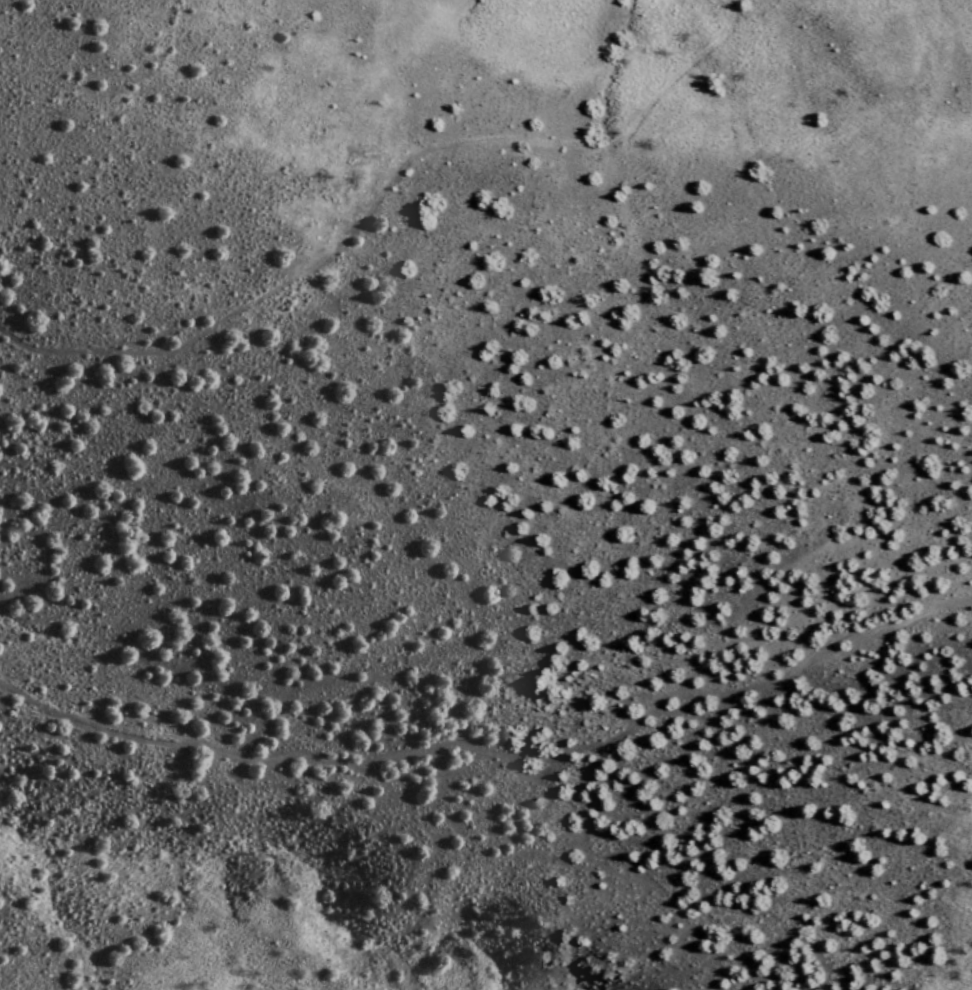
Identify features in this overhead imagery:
road: (491, 744)

